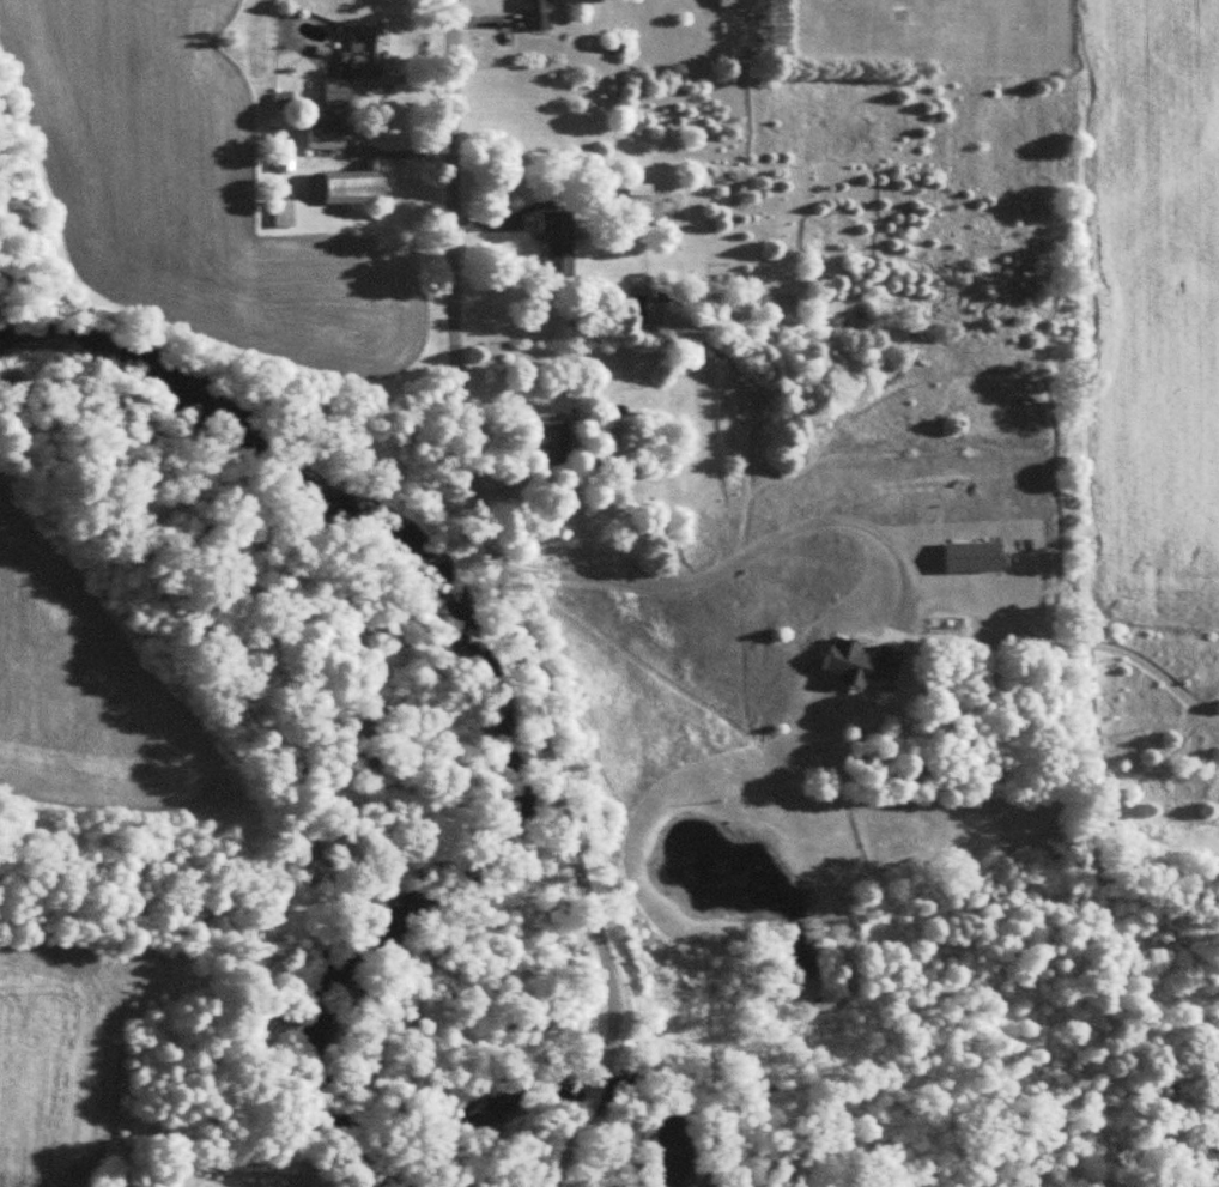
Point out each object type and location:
building: (740, 2)
building: (539, 14)
building: (371, 52)
building: (338, 90)
building: (327, 133)
building: (351, 187)
building: (655, 207)
building: (291, 212)
building: (560, 242)
building: (644, 435)
building: (557, 442)
road: (727, 563)
road: (504, 604)
river: (442, 660)
building: (1194, 751)

